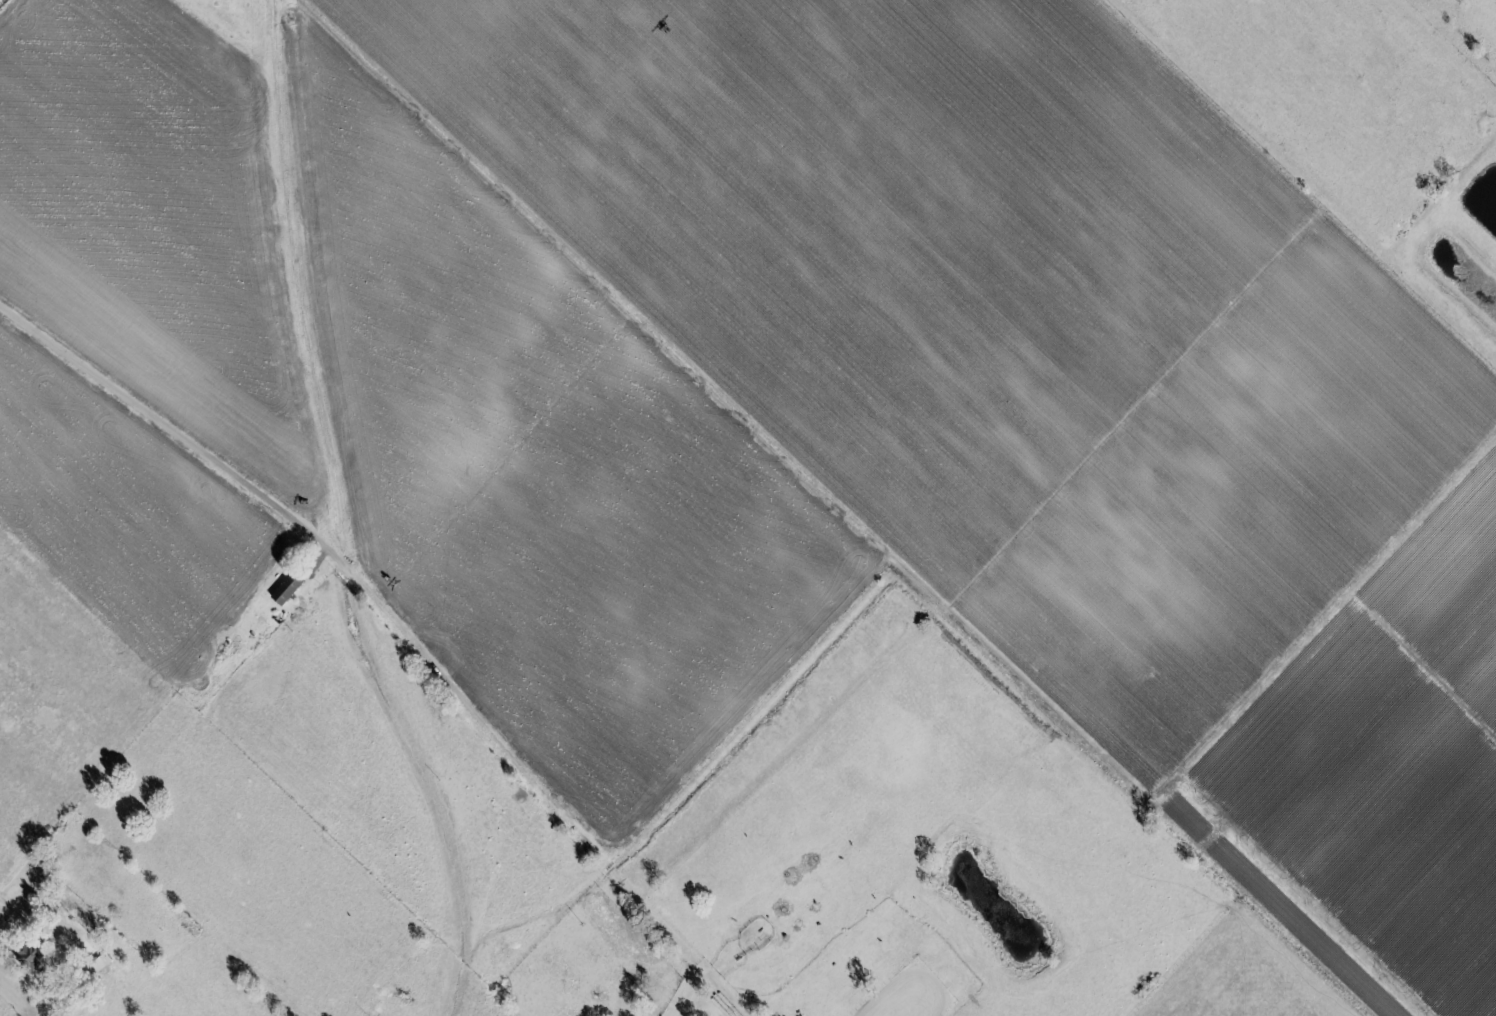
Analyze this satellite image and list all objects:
road: (1372, 110)
road: (1271, 280)
building: (288, 588)
road: (394, 627)
road: (14, 909)
building: (34, 956)
road: (690, 991)

